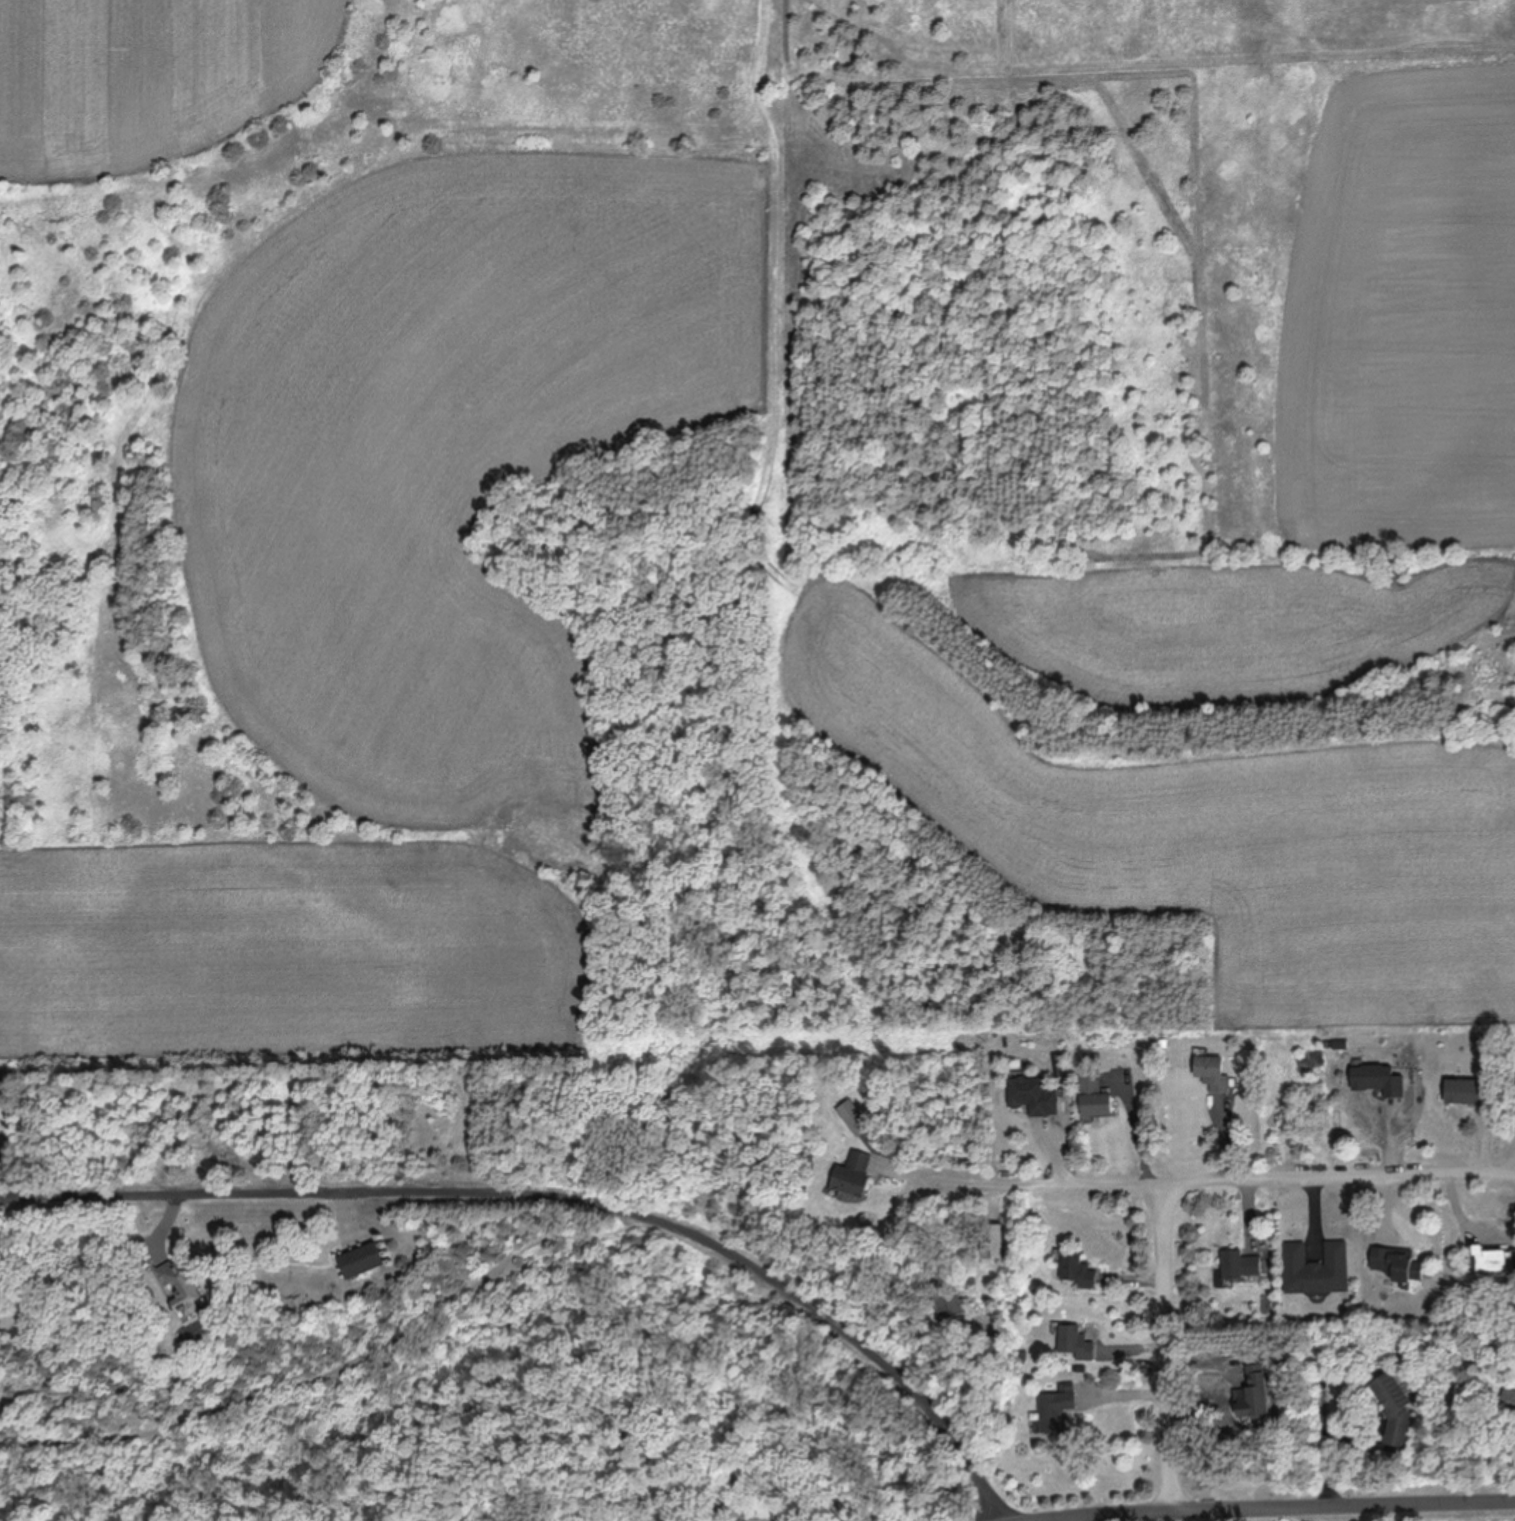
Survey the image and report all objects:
crop: (383, 467)
crop: (1274, 534)
road: (1216, 1182)
road: (567, 1197)
road: (1169, 1350)
road: (1143, 1402)
road: (1299, 1509)

